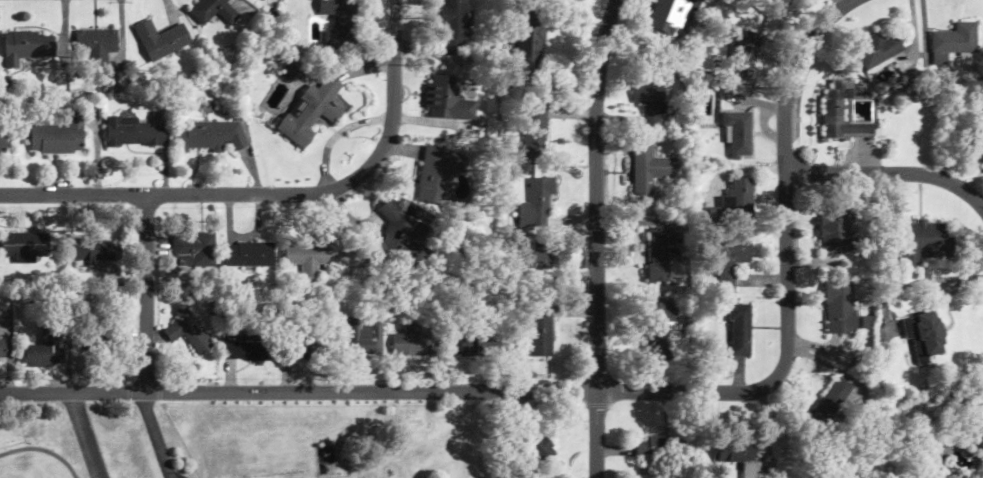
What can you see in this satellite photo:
building: (777, 3)
building: (214, 11)
building: (673, 16)
building: (337, 23)
building: (454, 27)
building: (955, 39)
building: (163, 40)
building: (96, 45)
building: (26, 46)
building: (527, 49)
building: (743, 49)
building: (879, 51)
building: (446, 99)
building: (648, 103)
building: (313, 112)
building: (841, 113)
building: (532, 126)
building: (132, 132)
building: (737, 134)
building: (209, 136)
building: (56, 137)
building: (1, 139)
building: (976, 147)
building: (646, 168)
road: (890, 172)
building: (436, 175)
building: (537, 192)
road: (275, 193)
building: (735, 202)
building: (834, 229)
building: (406, 237)
road: (594, 237)
building: (919, 241)
building: (24, 246)
building: (193, 247)
building: (97, 253)
building: (248, 254)
building: (656, 255)
building: (310, 256)
building: (539, 258)
building: (724, 260)
road: (144, 293)
building: (836, 307)
building: (656, 322)
building: (538, 330)
building: (736, 330)
building: (186, 331)
building: (921, 335)
building: (364, 336)
building: (101, 338)
building: (411, 341)
building: (478, 343)
building: (302, 345)
building: (44, 347)
building: (244, 347)
building: (1, 348)
road: (593, 391)
building: (825, 406)
building: (967, 415)
road: (154, 434)
road: (84, 435)
building: (538, 444)
building: (982, 445)
track: (42, 451)
building: (658, 451)
building: (737, 453)
parking lot: (175, 475)

